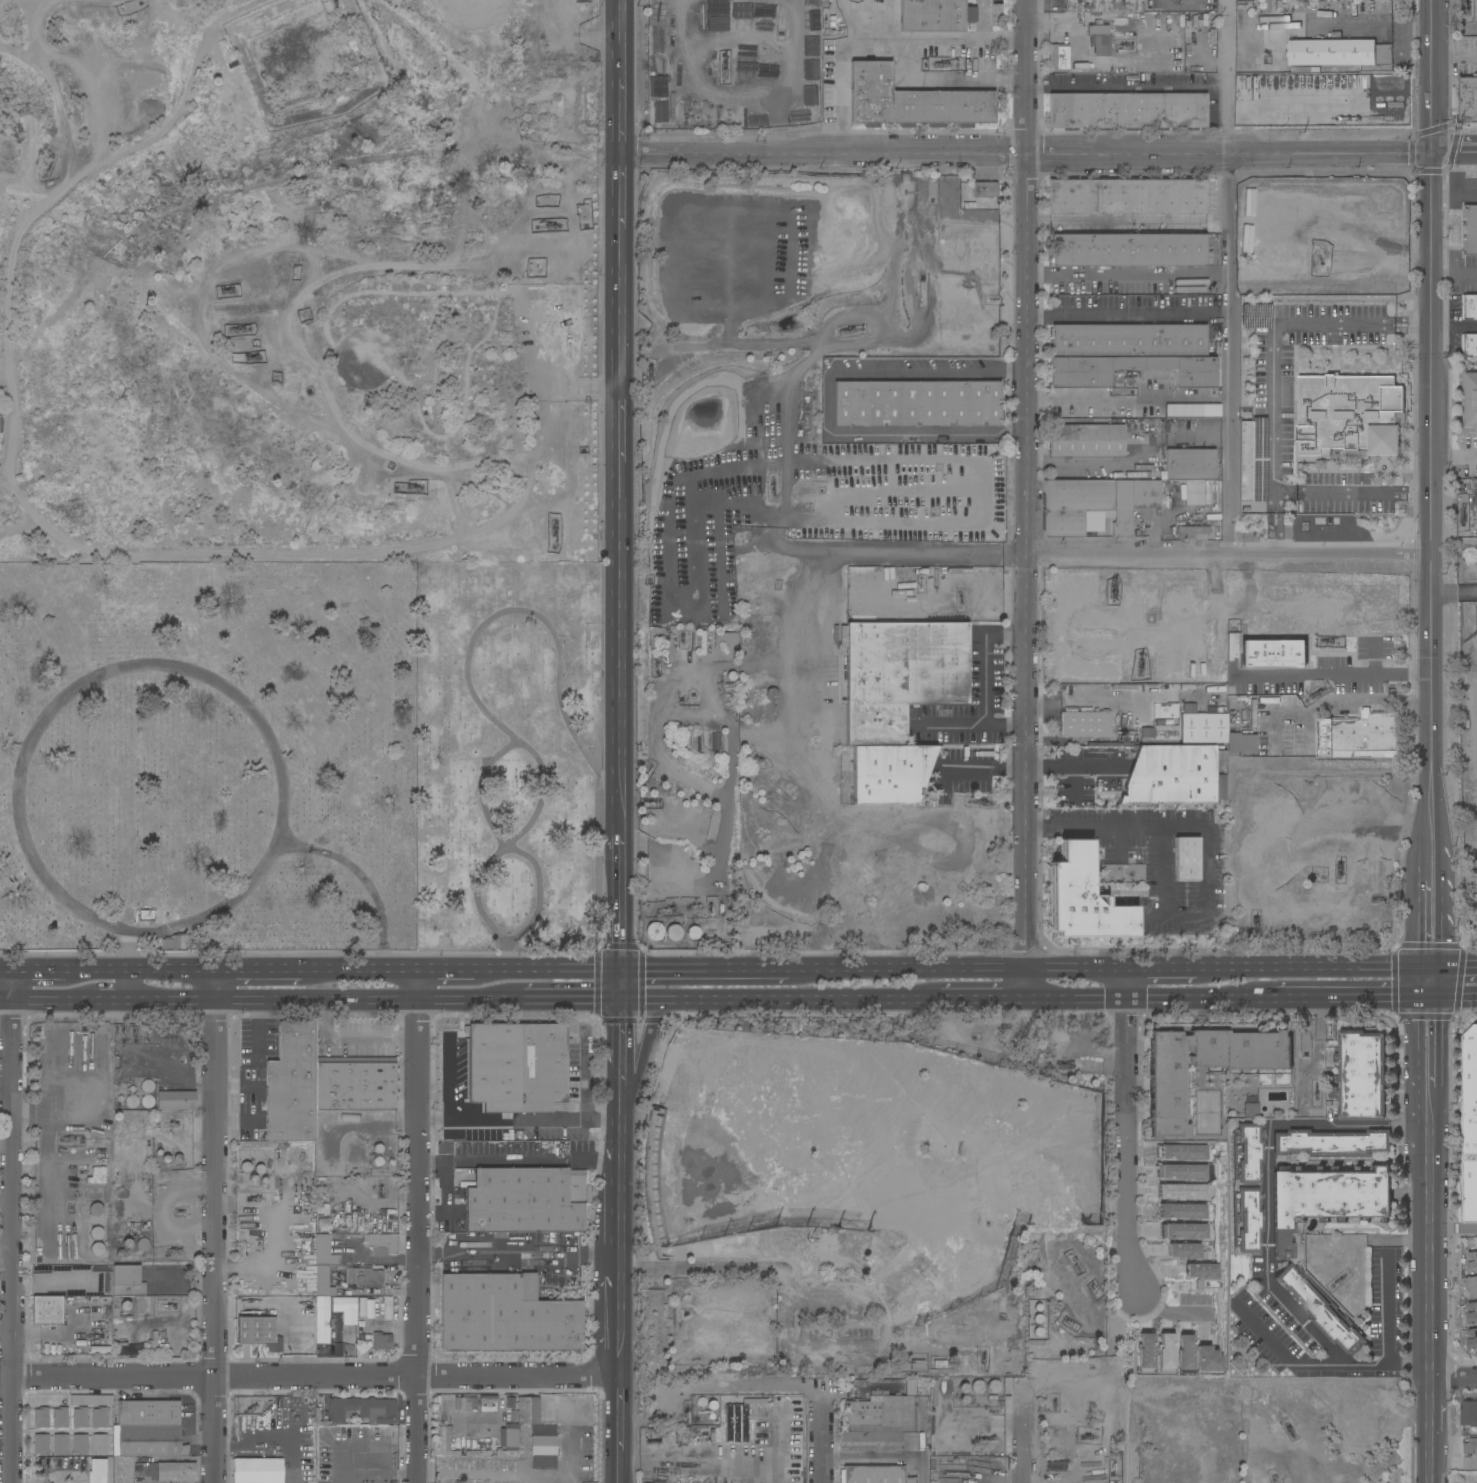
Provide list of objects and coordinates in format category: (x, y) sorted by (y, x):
building: (1103, 6)
building: (935, 15)
road: (890, 21)
road: (985, 22)
road: (1370, 25)
building: (1099, 38)
road: (624, 39)
road: (939, 42)
petroleum well: (1121, 46)
building: (1340, 54)
road: (1455, 56)
building: (1058, 58)
petroleum well: (723, 61)
petroleum well: (943, 61)
road: (839, 72)
building: (85, 73)
building: (143, 74)
building: (106, 75)
road: (950, 83)
building: (115, 97)
building: (138, 97)
building: (94, 99)
building: (1468, 101)
building: (912, 102)
building: (1128, 111)
road: (624, 118)
traffic signals: (1434, 155)
road: (1455, 155)
road: (1029, 156)
building: (566, 173)
petroleum well: (47, 175)
building: (985, 190)
road: (624, 196)
building: (1128, 196)
petroleum well: (554, 226)
building: (1470, 231)
building: (1128, 250)
road: (1130, 274)
road: (1230, 275)
petroleum well: (227, 290)
building: (1469, 307)
road: (623, 312)
road: (1129, 315)
road: (1413, 324)
road: (1455, 325)
petroleum well: (850, 328)
petroleum well: (239, 336)
parking lot: (543, 339)
building: (1469, 346)
road: (367, 353)
building: (1128, 353)
park: (454, 355)
petroleum well: (250, 358)
road: (1273, 358)
road: (399, 361)
road: (555, 372)
petroleum well: (649, 372)
road: (826, 399)
building: (1470, 399)
building: (917, 404)
building: (1184, 411)
building: (1348, 414)
road: (1433, 422)
road: (622, 426)
building: (1086, 440)
road: (553, 451)
road: (1455, 454)
road: (1125, 460)
building: (1190, 464)
road: (5, 473)
building: (1132, 475)
petroleum well: (772, 487)
road: (1029, 487)
building: (1192, 490)
building: (1213, 493)
road: (1364, 493)
building: (1165, 499)
road: (457, 501)
building: (1241, 501)
building: (1132, 502)
road: (1274, 502)
building: (1075, 507)
petroleum well: (411, 511)
petroleum well: (558, 529)
building: (1193, 531)
road: (1274, 532)
road: (1331, 552)
road: (1129, 553)
park: (3, 585)
petroleum well: (1112, 588)
road: (537, 617)
petroleum well: (681, 639)
building: (719, 640)
building: (730, 641)
road: (620, 642)
building: (747, 644)
building: (1273, 655)
road: (986, 658)
petroleum well: (1142, 664)
road: (171, 667)
parking lot: (987, 667)
road: (1333, 672)
building: (901, 675)
building: (1192, 688)
building: (728, 691)
building: (771, 694)
storage tank: (771, 694)
road: (1351, 702)
road: (783, 722)
building: (1084, 724)
road: (978, 728)
building: (1204, 728)
building: (1172, 731)
road: (731, 734)
building: (1360, 736)
building: (1240, 744)
park: (207, 755)
park: (509, 756)
petroleum well: (757, 758)
road: (1050, 763)
parking lot: (966, 771)
petroleum well: (646, 772)
road: (990, 772)
building: (890, 773)
building: (1172, 775)
petroleum well: (650, 804)
road: (1394, 829)
road: (507, 842)
road: (1204, 846)
road: (496, 856)
building: (1186, 859)
parking lot: (1163, 861)
road: (1430, 862)
petroleum well: (1340, 870)
road: (366, 880)
road: (620, 899)
building: (1082, 899)
petroleum well: (697, 906)
petroleum well: (664, 909)
road: (1430, 912)
petroleum well: (710, 913)
building: (146, 915)
building: (654, 931)
storage tank: (654, 931)
building: (673, 932)
storage tank: (673, 932)
building: (694, 933)
storage tank: (694, 933)
building: (173, 942)
road: (133, 966)
road: (1429, 971)
road: (115, 973)
road: (272, 973)
road: (372, 973)
road: (1453, 973)
road: (6, 974)
road: (464, 974)
road: (565, 974)
road: (1077, 974)
road: (1278, 974)
traffic signals: (1429, 974)
traffic signals: (620, 975)
road: (714, 975)
road: (917, 975)
road: (620, 988)
road: (1026, 988)
road: (1127, 988)
road: (1453, 998)
traffic signals: (1430, 999)
road: (1344, 1000)
road: (462, 1001)
road: (563, 1001)
road: (1076, 1001)
road: (1193, 1001)
road: (54, 1002)
road: (115, 1002)
road: (275, 1002)
traffic signals: (620, 1002)
road: (768, 1002)
road: (971, 1002)
road: (5, 1003)
petroleum well: (135, 1030)
petroleum well: (123, 1031)
petroleum well: (146, 1031)
road: (354, 1038)
road: (620, 1044)
road: (642, 1044)
petroleum well: (1064, 1066)
building: (515, 1068)
road: (583, 1074)
road: (47, 1076)
building: (1361, 1076)
road: (256, 1079)
road: (448, 1080)
road: (237, 1084)
building: (319, 1084)
building: (148, 1085)
storage tank: (148, 1085)
petroleum well: (1316, 1089)
building: (1166, 1098)
building: (176, 1100)
building: (132, 1101)
storage tank: (132, 1101)
building: (147, 1101)
storage tank: (147, 1101)
building: (1251, 1110)
building: (349, 1118)
road: (518, 1118)
road: (351, 1121)
petroleum well: (171, 1124)
road: (1412, 1125)
building: (1470, 1125)
road: (1268, 1130)
petroleum well: (69, 1138)
building: (1330, 1143)
building: (652, 1147)
road: (1127, 1148)
building: (1183, 1153)
road: (49, 1160)
building: (1182, 1173)
building: (97, 1175)
road: (619, 1177)
building: (1246, 1188)
petroleum well: (380, 1190)
building: (95, 1193)
storage tank: (95, 1193)
building: (1185, 1193)
petroleum well: (256, 1199)
building: (1328, 1199)
building: (526, 1200)
building: (96, 1210)
storage tank: (96, 1210)
petroleum well: (179, 1211)
building: (1183, 1211)
road: (12, 1228)
road: (216, 1228)
road: (418, 1228)
road: (1454, 1229)
building: (1184, 1231)
building: (96, 1233)
storage tank: (96, 1233)
road: (1431, 1241)
building: (383, 1242)
building: (127, 1244)
storage tank: (127, 1244)
building: (143, 1244)
storage tank: (143, 1244)
building: (821, 1244)
building: (97, 1248)
storage tank: (97, 1248)
petroleum well: (172, 1251)
building: (1184, 1251)
building: (325, 1252)
road: (518, 1252)
petroleum well: (1074, 1261)
building: (1471, 1261)
road: (375, 1262)
building: (1202, 1271)
building: (365, 1277)
building: (324, 1280)
building: (127, 1281)
petroleum well: (1338, 1282)
building: (307, 1283)
road: (56, 1285)
building: (1471, 1287)
building: (529, 1289)
petroleum well: (1096, 1289)
petroleum well: (165, 1306)
building: (1319, 1308)
building: (346, 1309)
building: (47, 1310)
building: (1471, 1312)
building: (504, 1318)
building: (322, 1320)
road: (619, 1321)
petroleum well: (1071, 1323)
building: (256, 1332)
road: (1388, 1334)
building: (1471, 1339)
building: (381, 1343)
building: (151, 1345)
building: (120, 1350)
building: (1145, 1353)
building: (1165, 1353)
building: (1186, 1356)
road: (1338, 1358)
building: (1209, 1361)
road: (1396, 1364)
building: (917, 1365)
road: (1417, 1365)
road: (315, 1375)
road: (1454, 1380)
road: (720, 1387)
building: (976, 1387)
storage tank: (976, 1387)
building: (993, 1387)
storage tank: (993, 1387)
building: (934, 1392)
building: (879, 1393)
building: (91, 1401)
building: (459, 1403)
building: (488, 1403)
petroleum well: (1054, 1403)
building: (471, 1404)
building: (363, 1410)
building: (530, 1410)
building: (881, 1412)
building: (148, 1413)
building: (317, 1414)
building: (1469, 1414)
petroleum well: (685, 1416)
building: (60, 1417)
building: (99, 1417)
building: (41, 1418)
building: (80, 1418)
road: (619, 1421)
road: (295, 1426)
building: (764, 1428)
petroleum well: (1288, 1430)
road: (348, 1433)
road: (1128, 1436)
building: (878, 1438)
building: (147, 1441)
building: (540, 1441)
petroleum well: (984, 1441)
building: (443, 1442)
building: (508, 1442)
building: (60, 1444)
building: (80, 1444)
building: (99, 1444)
road: (824, 1444)
building: (41, 1445)
building: (1470, 1448)
road: (1027, 1450)
building: (477, 1453)
road: (874, 1459)
building: (544, 1463)
petroleum well: (1112, 1466)
building: (121, 1470)
building: (138, 1470)
building: (258, 1470)
building: (97, 1471)
road: (924, 1471)
building: (170, 1472)
road: (379, 1474)
building: (874, 1474)
road: (619, 1475)
road: (480, 1476)
road: (336, 1478)

